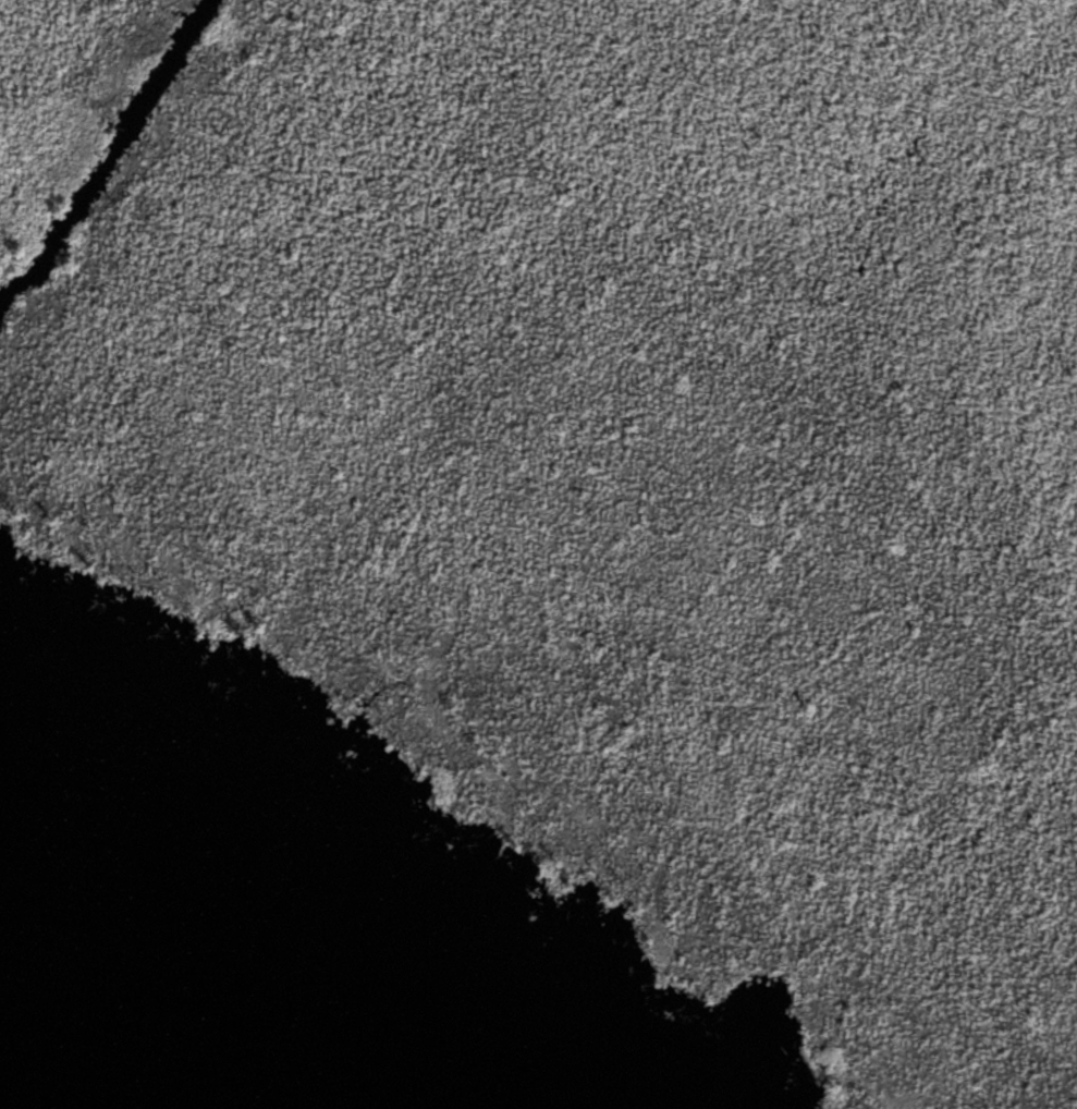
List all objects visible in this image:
river: (106, 983)

